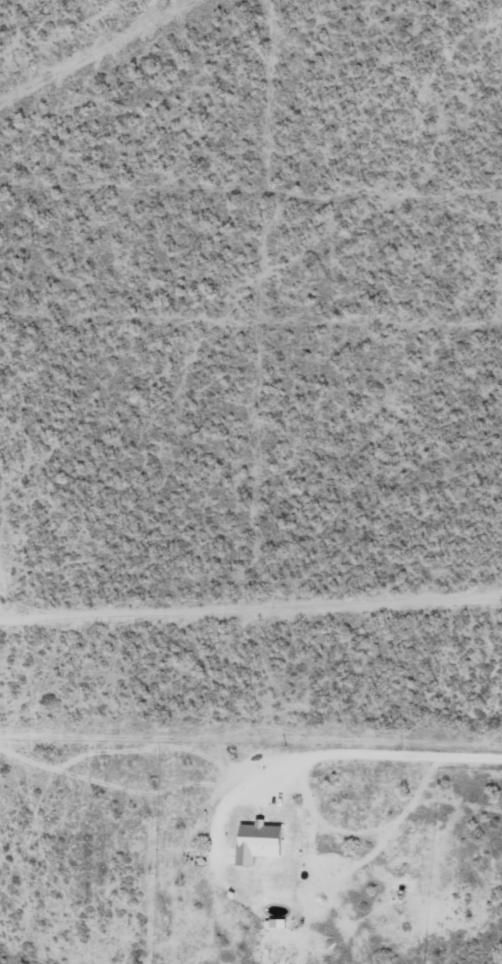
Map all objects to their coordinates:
building: (255, 842)

